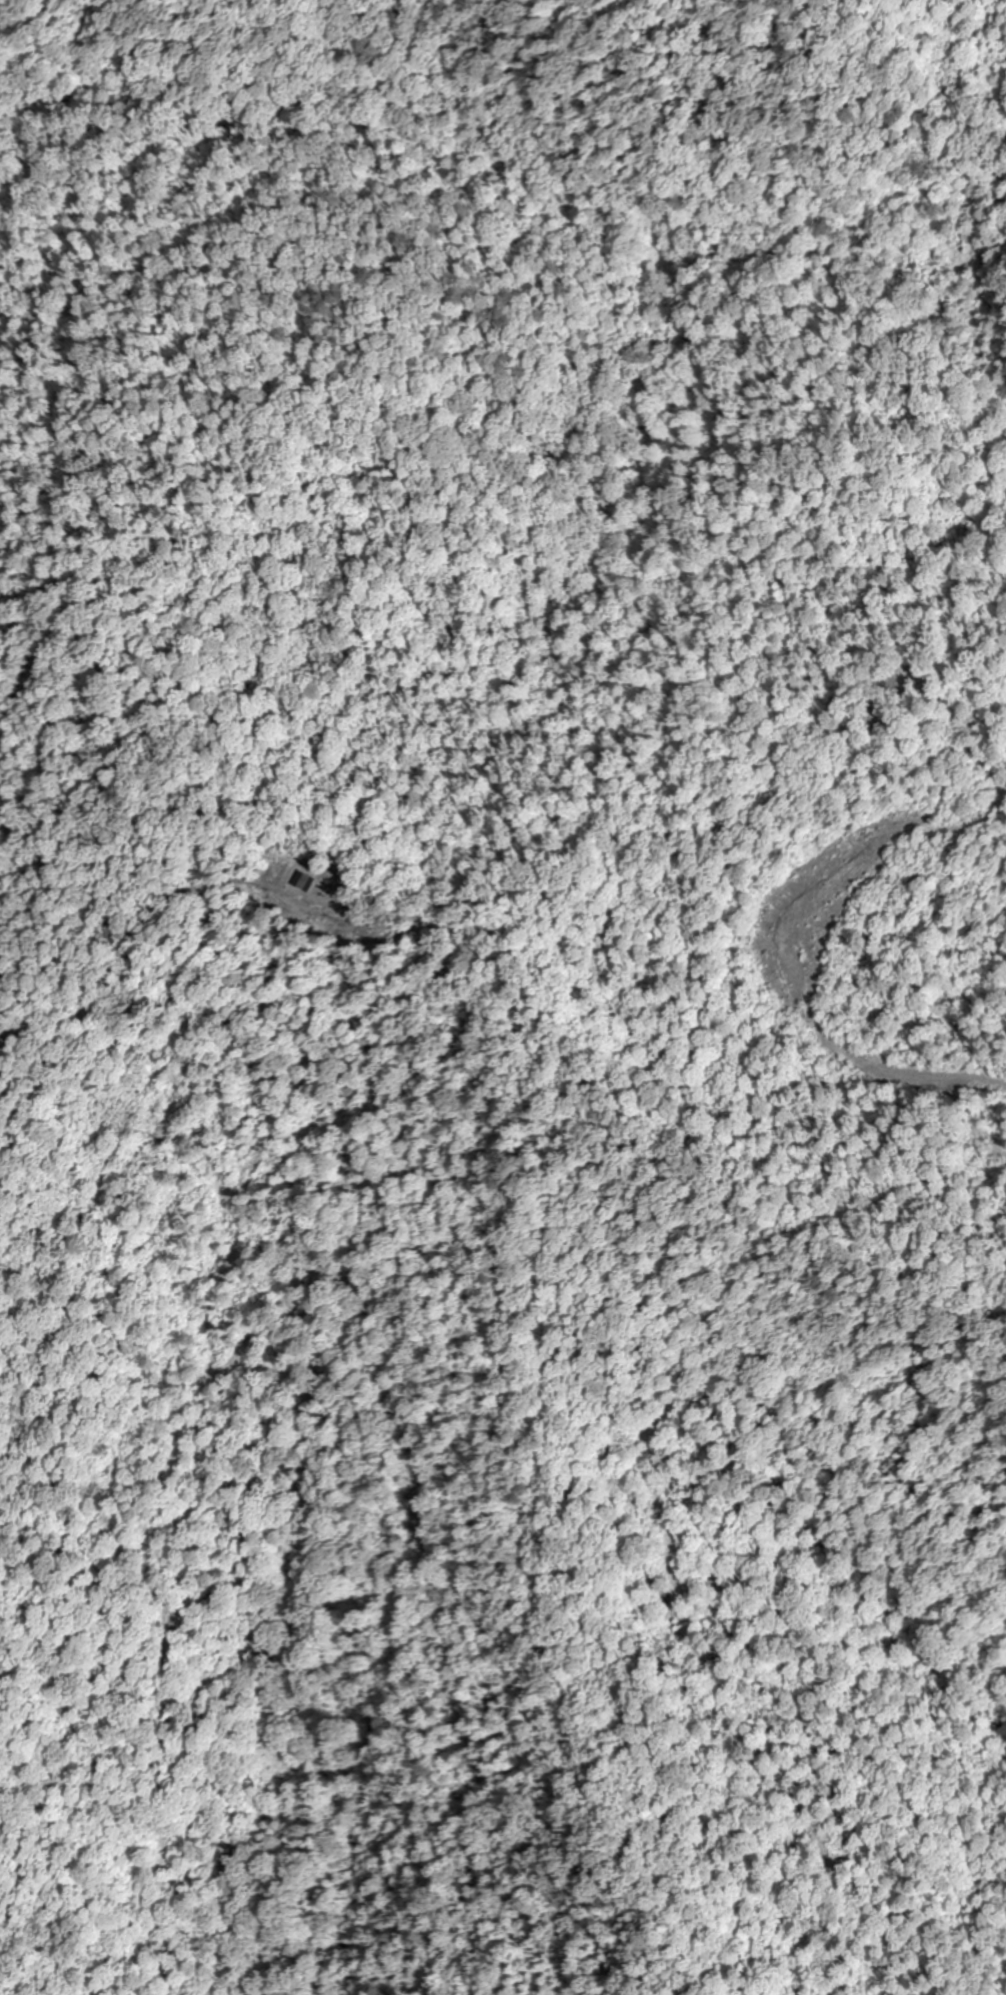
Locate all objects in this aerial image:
road: (864, 364)

